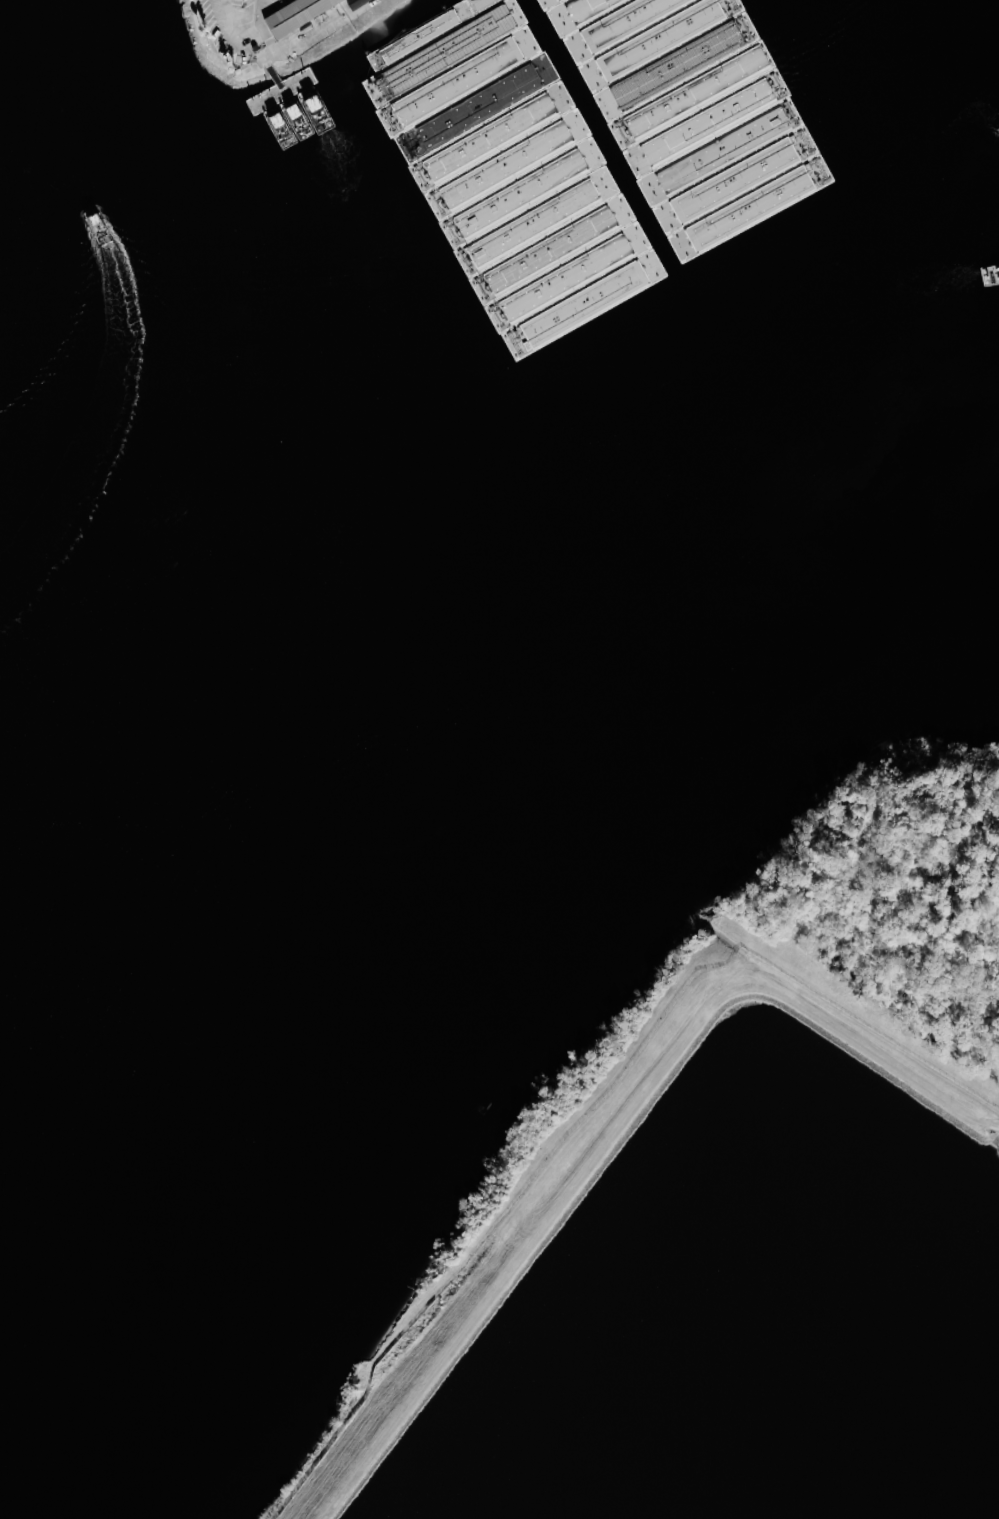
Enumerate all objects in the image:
building: (293, 13)
road: (237, 24)
river: (483, 529)

